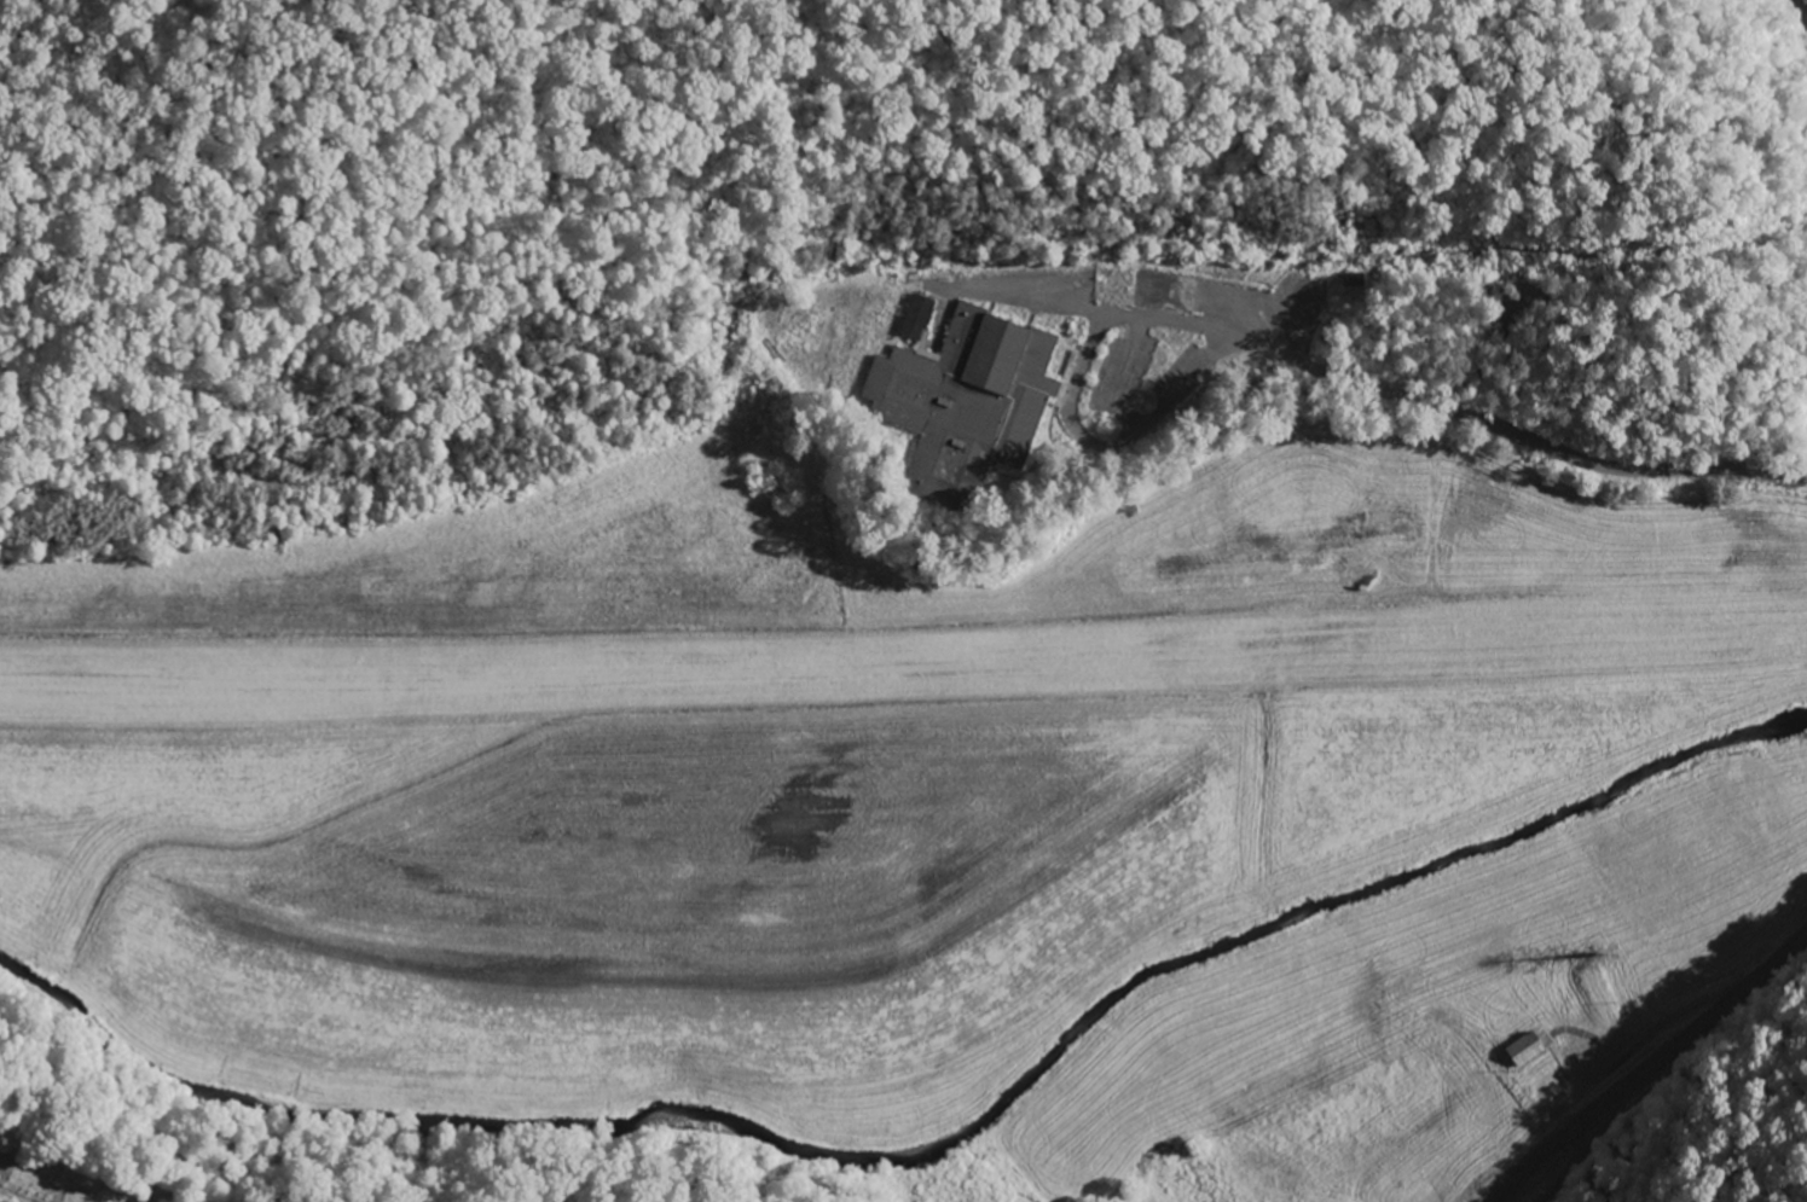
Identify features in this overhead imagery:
road: (1791, 25)
building: (920, 318)
road: (1189, 323)
road: (1140, 429)
road: (1540, 447)
road: (1712, 1018)
building: (1531, 1050)
road: (1553, 1148)
road: (1580, 1150)
park: (122, 1165)

